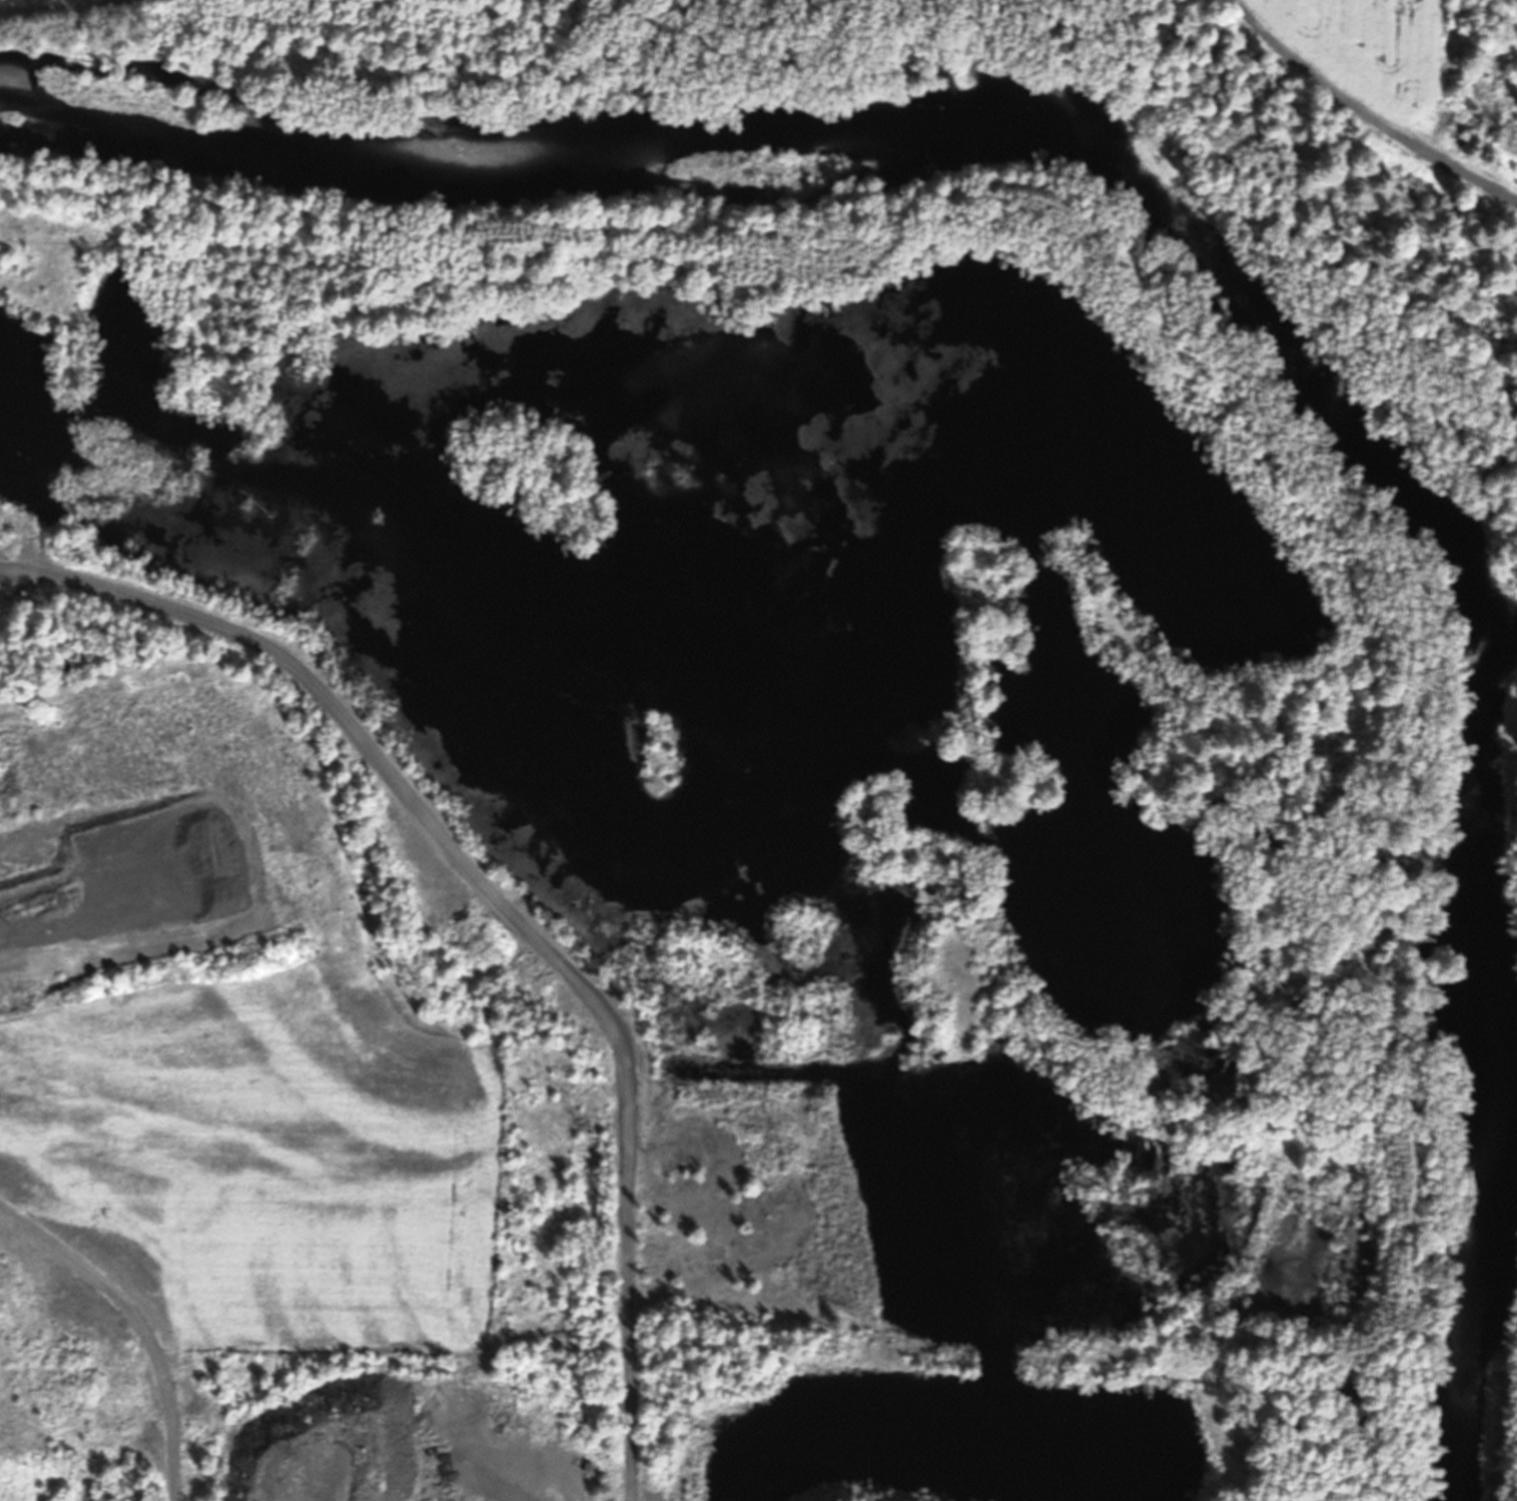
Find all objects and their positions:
river: (454, 167)
river: (1239, 307)
quarry: (713, 821)
river: (1512, 1107)
quarry: (276, 1142)
quarry: (475, 1221)

